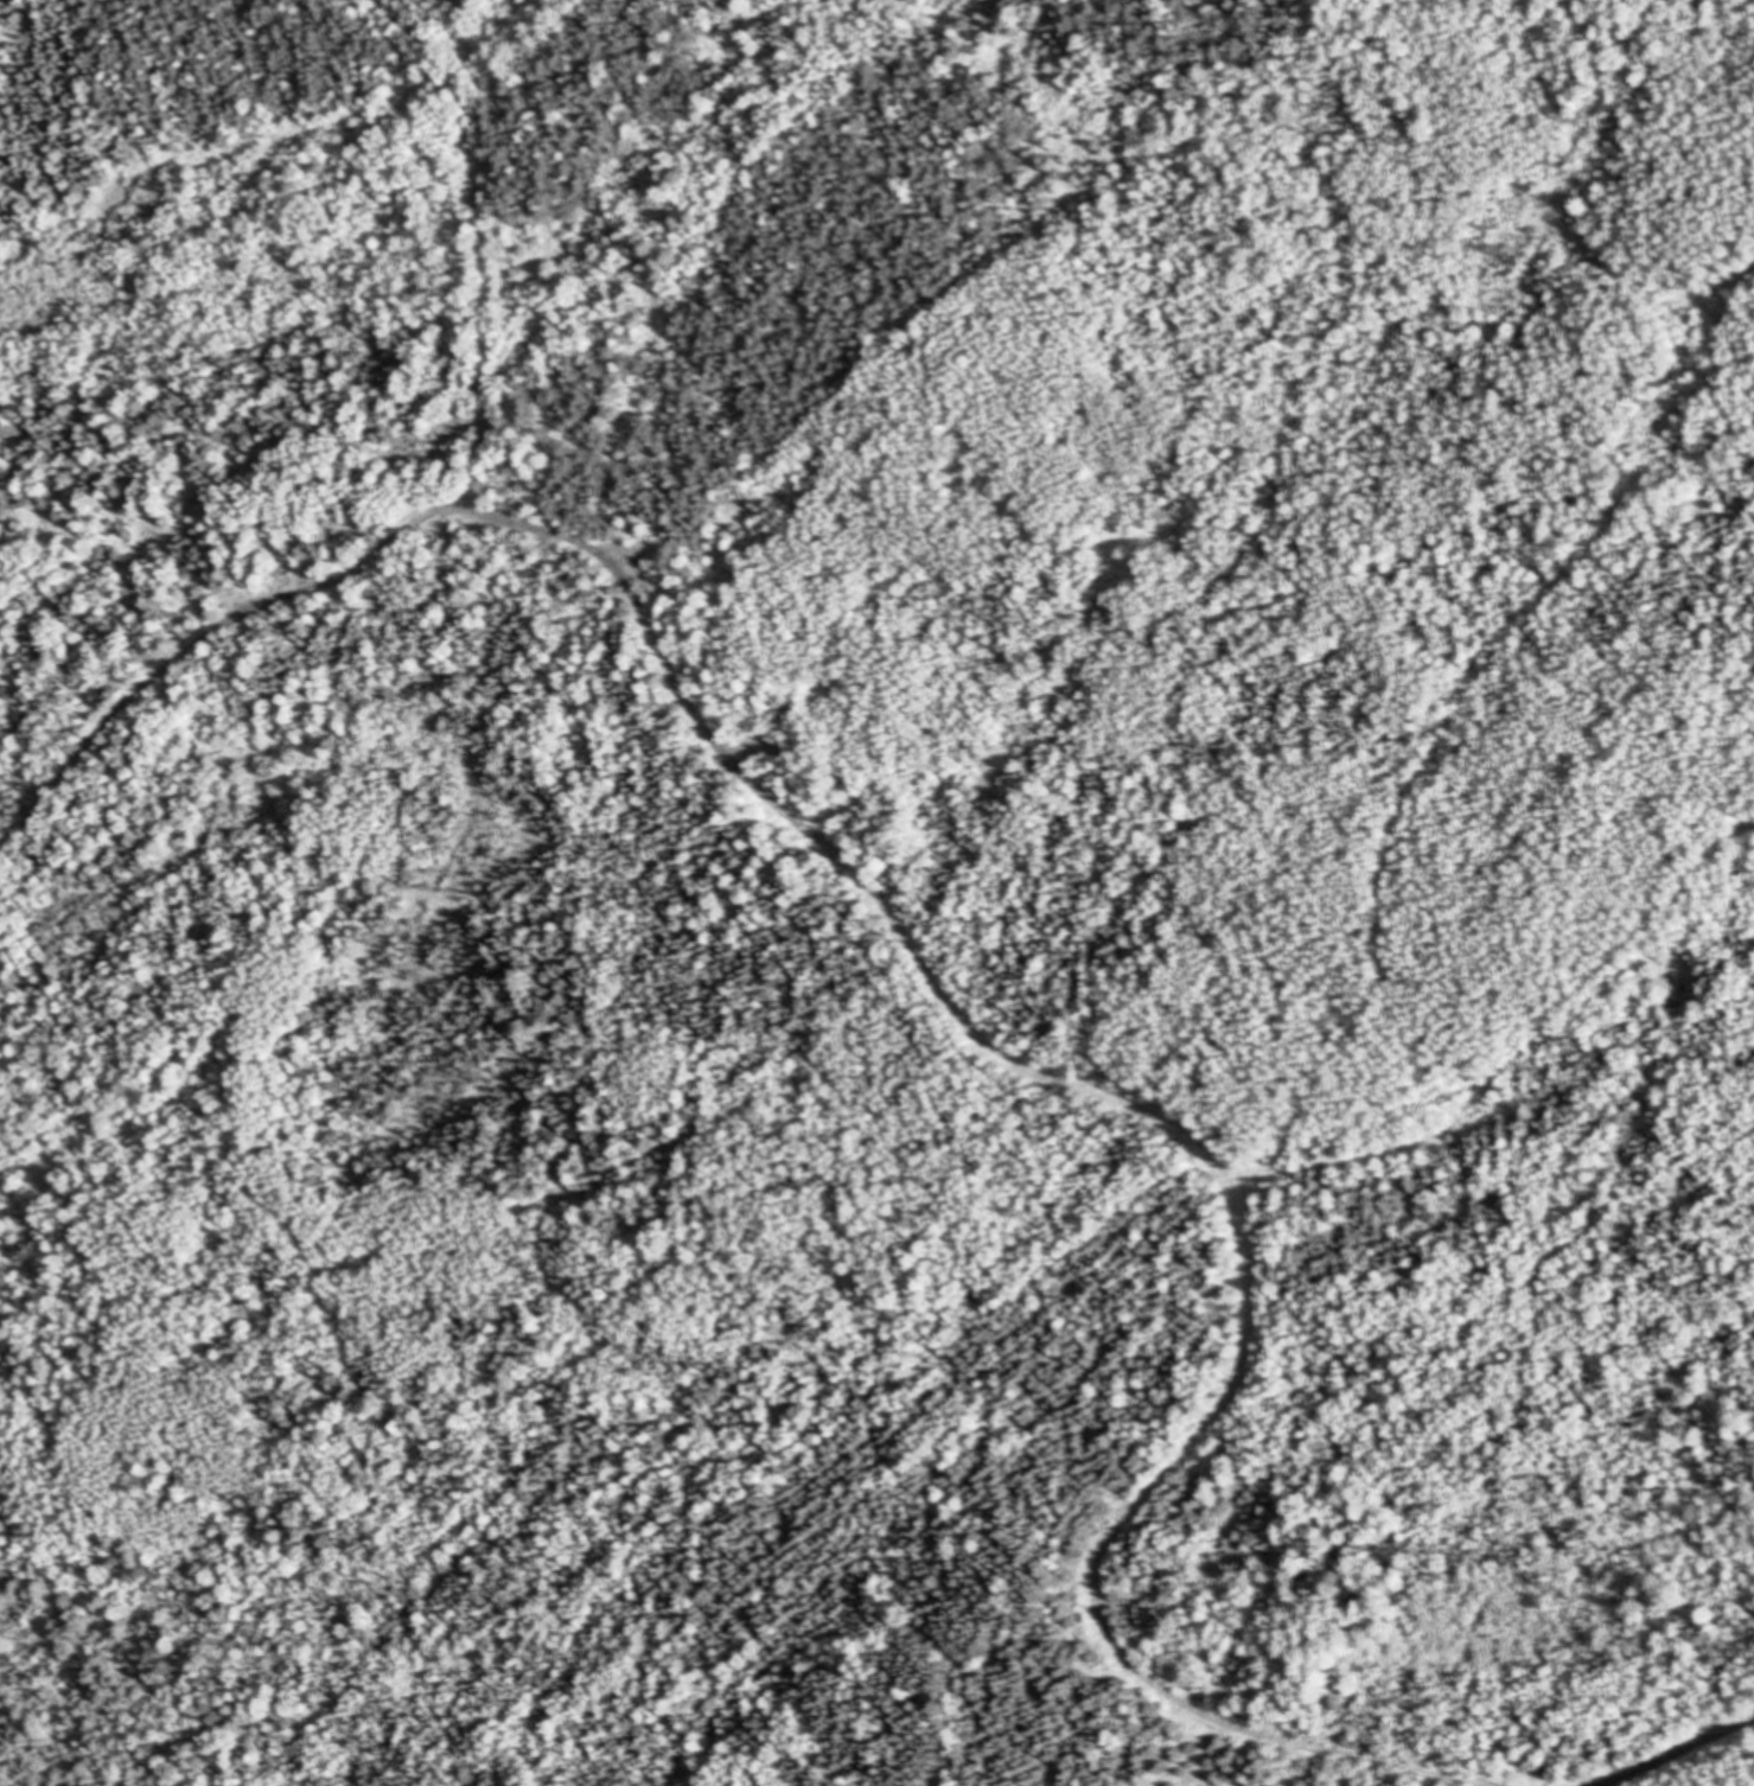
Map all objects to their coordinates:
road: (1708, 1758)

